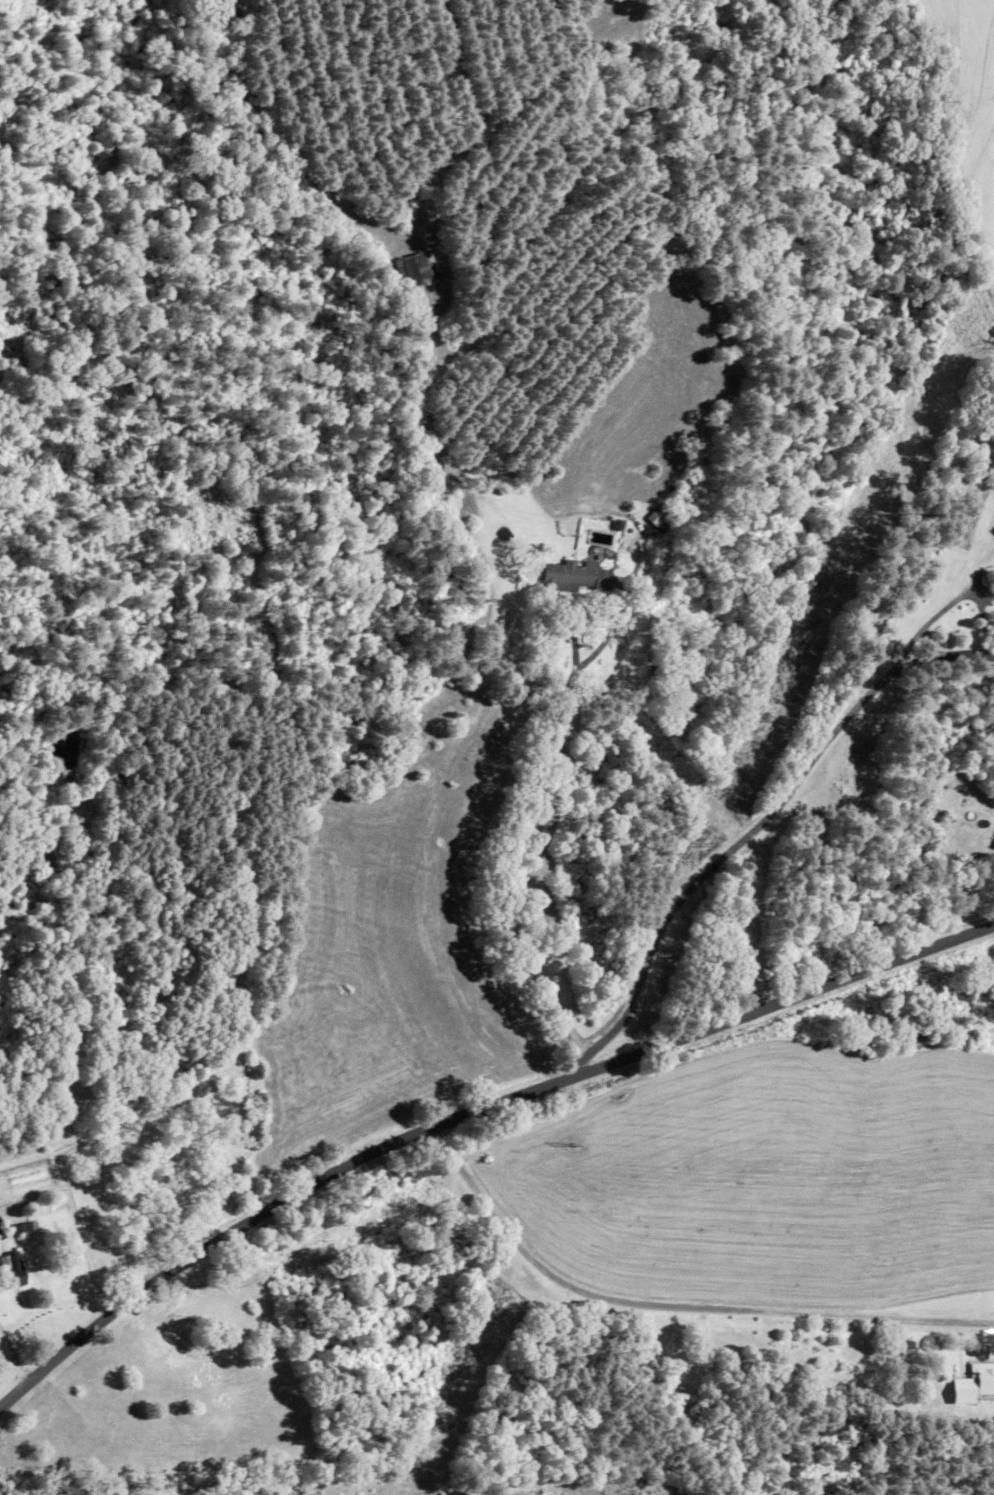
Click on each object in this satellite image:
building: (419, 270)
building: (428, 461)
building: (658, 519)
building: (579, 578)
road: (757, 830)
building: (988, 839)
road: (502, 906)
road: (468, 1113)
building: (26, 1228)
building: (2, 1233)
building: (14, 1269)
road: (673, 1307)
building: (904, 1344)

